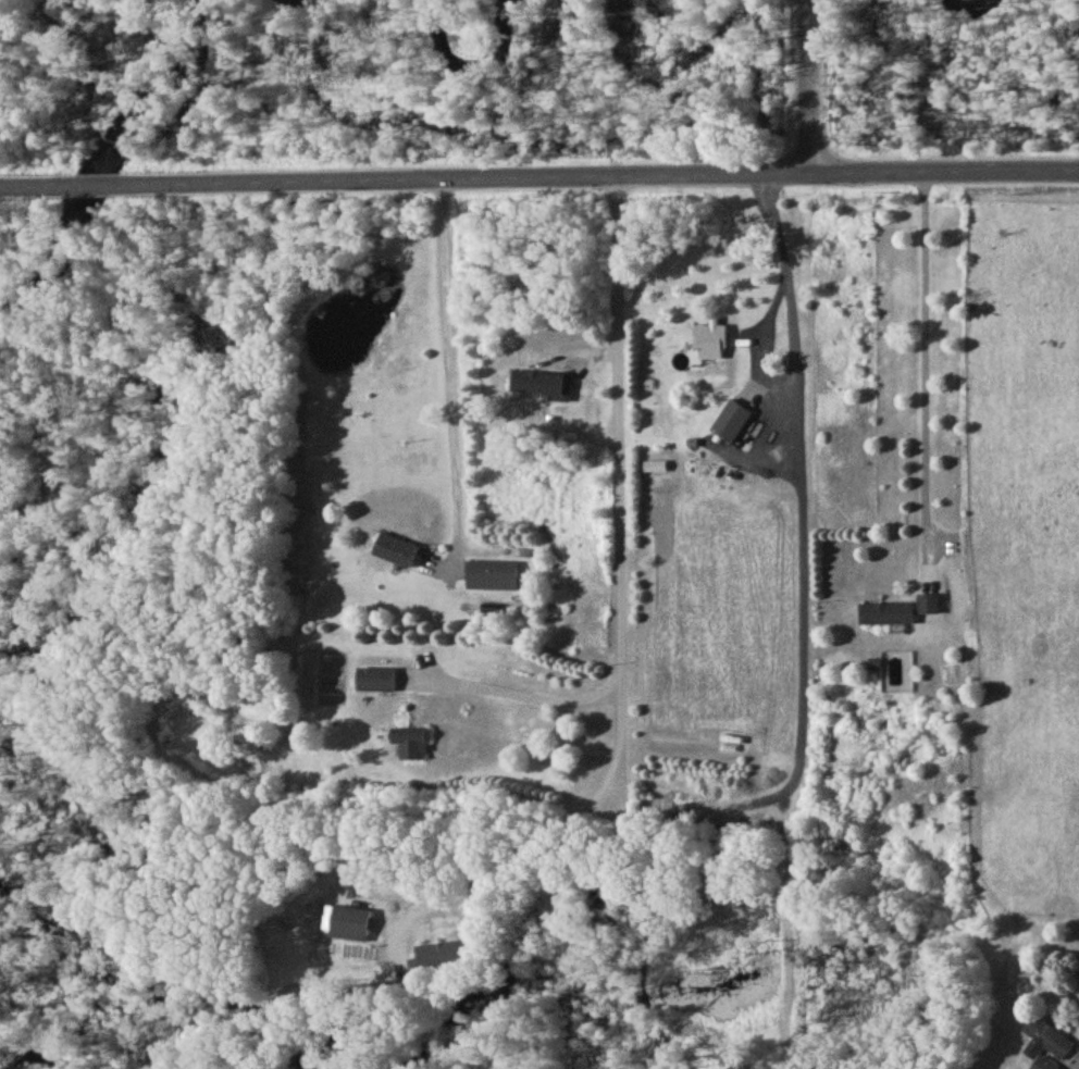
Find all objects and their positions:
road: (808, 85)
road: (538, 176)
road: (784, 260)
building: (711, 345)
road: (449, 356)
road: (927, 370)
building: (537, 386)
building: (731, 425)
road: (615, 465)
building: (397, 554)
building: (492, 579)
building: (929, 608)
building: (886, 618)
building: (376, 683)
road: (525, 697)
building: (412, 746)
road: (530, 852)
building: (445, 957)
building: (1047, 1047)

